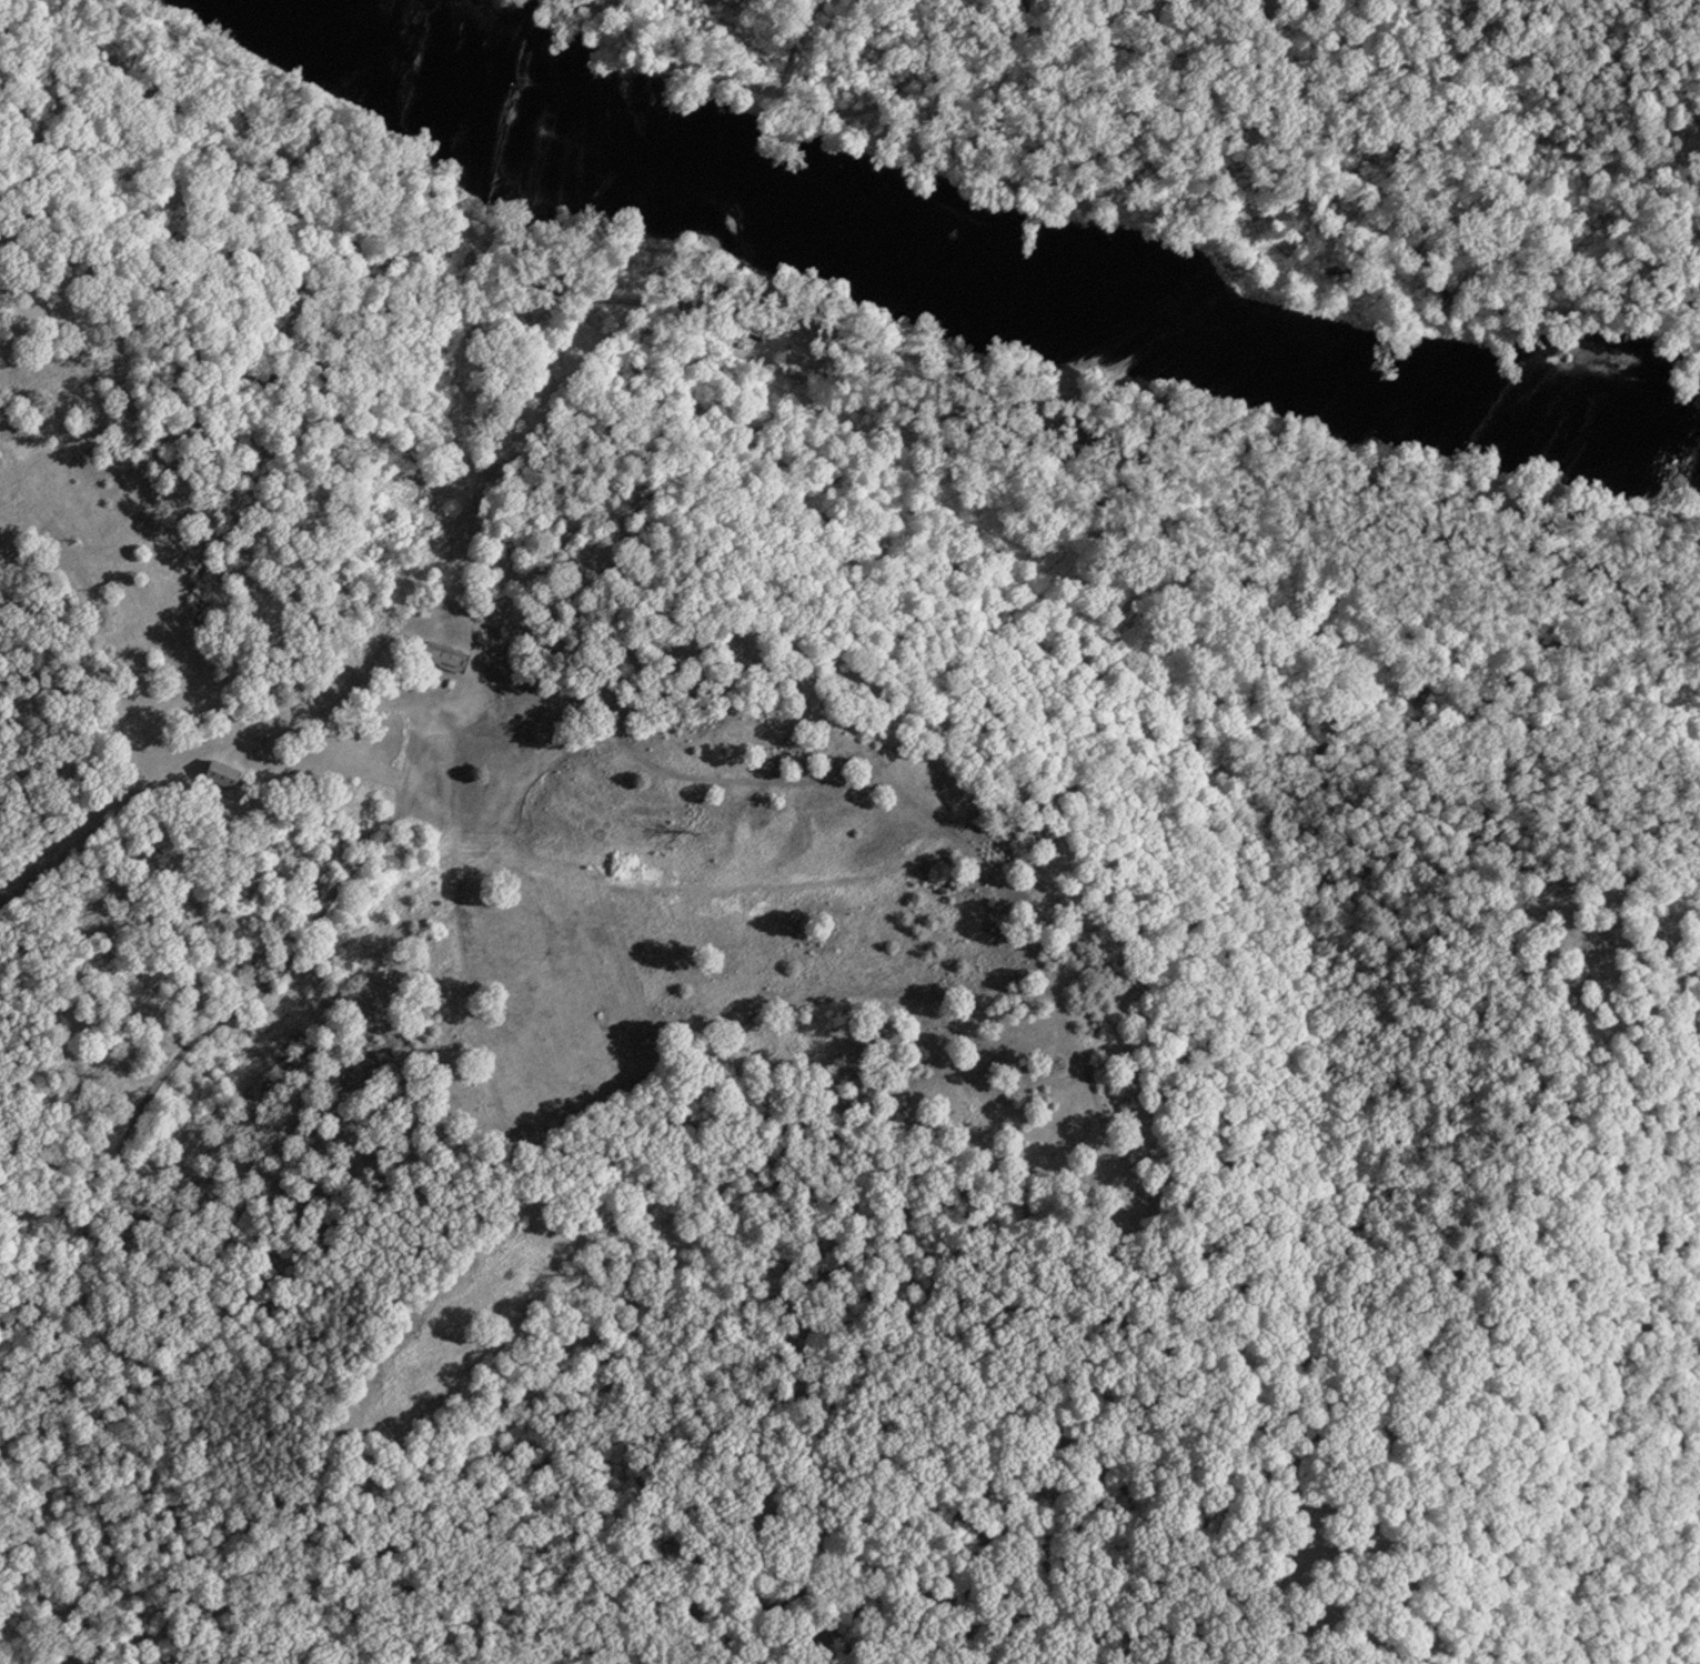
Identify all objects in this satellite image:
river: (963, 259)
building: (227, 774)
crop: (598, 859)
road: (392, 914)
road: (30, 1623)

